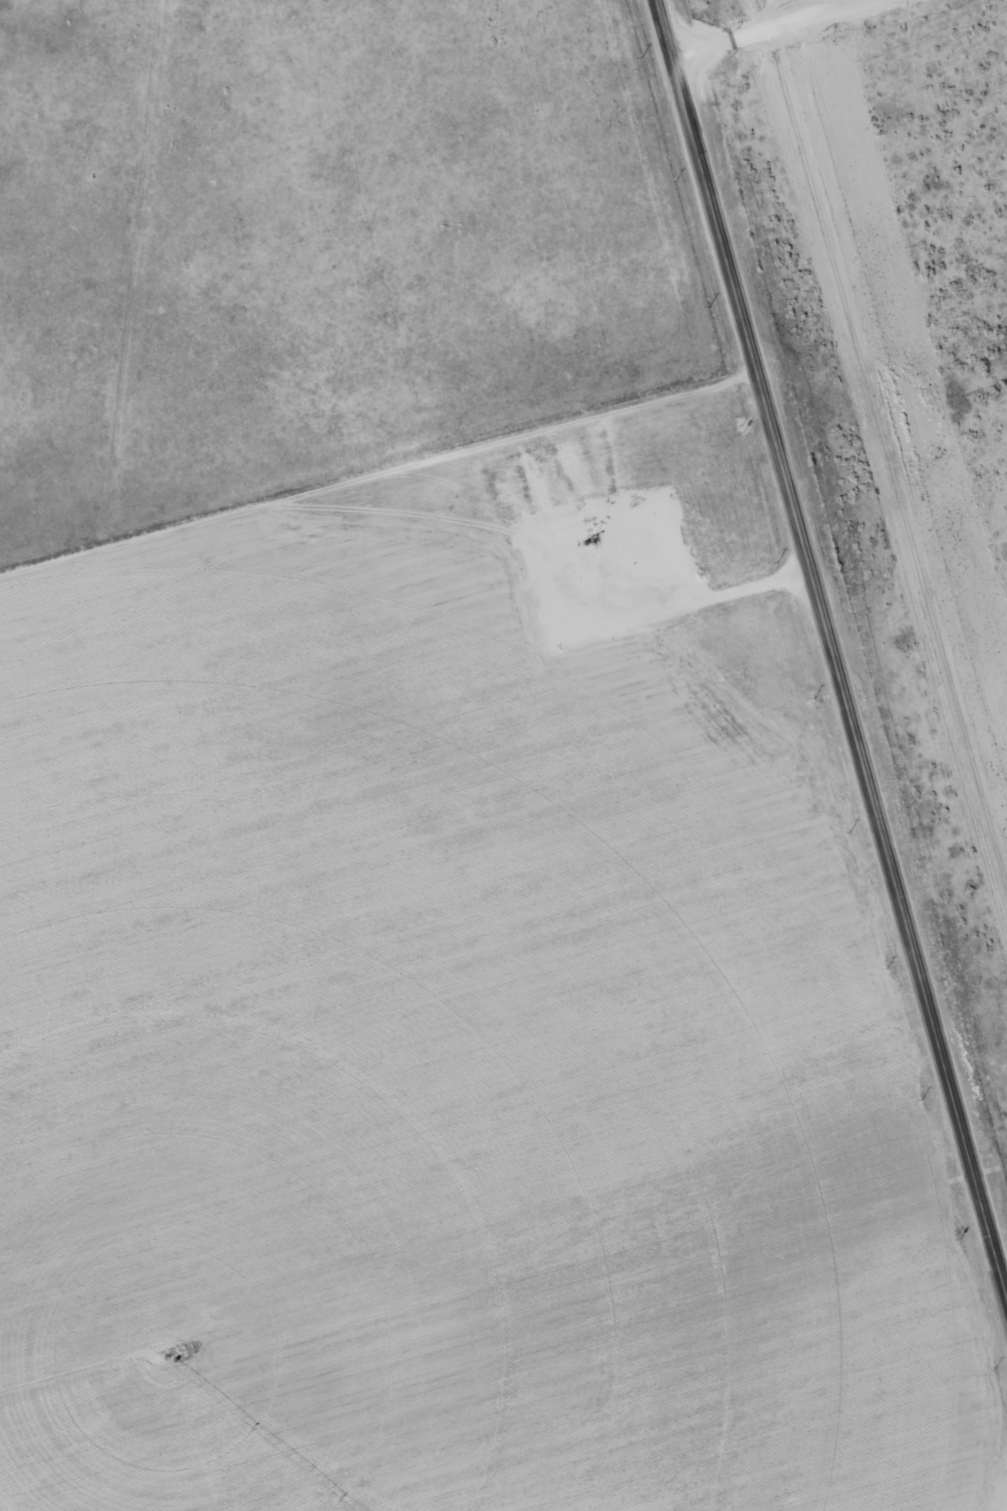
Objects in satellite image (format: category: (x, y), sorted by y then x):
road: (775, 28)
petroleum well: (593, 539)
road: (832, 646)
river: (798, 1277)

